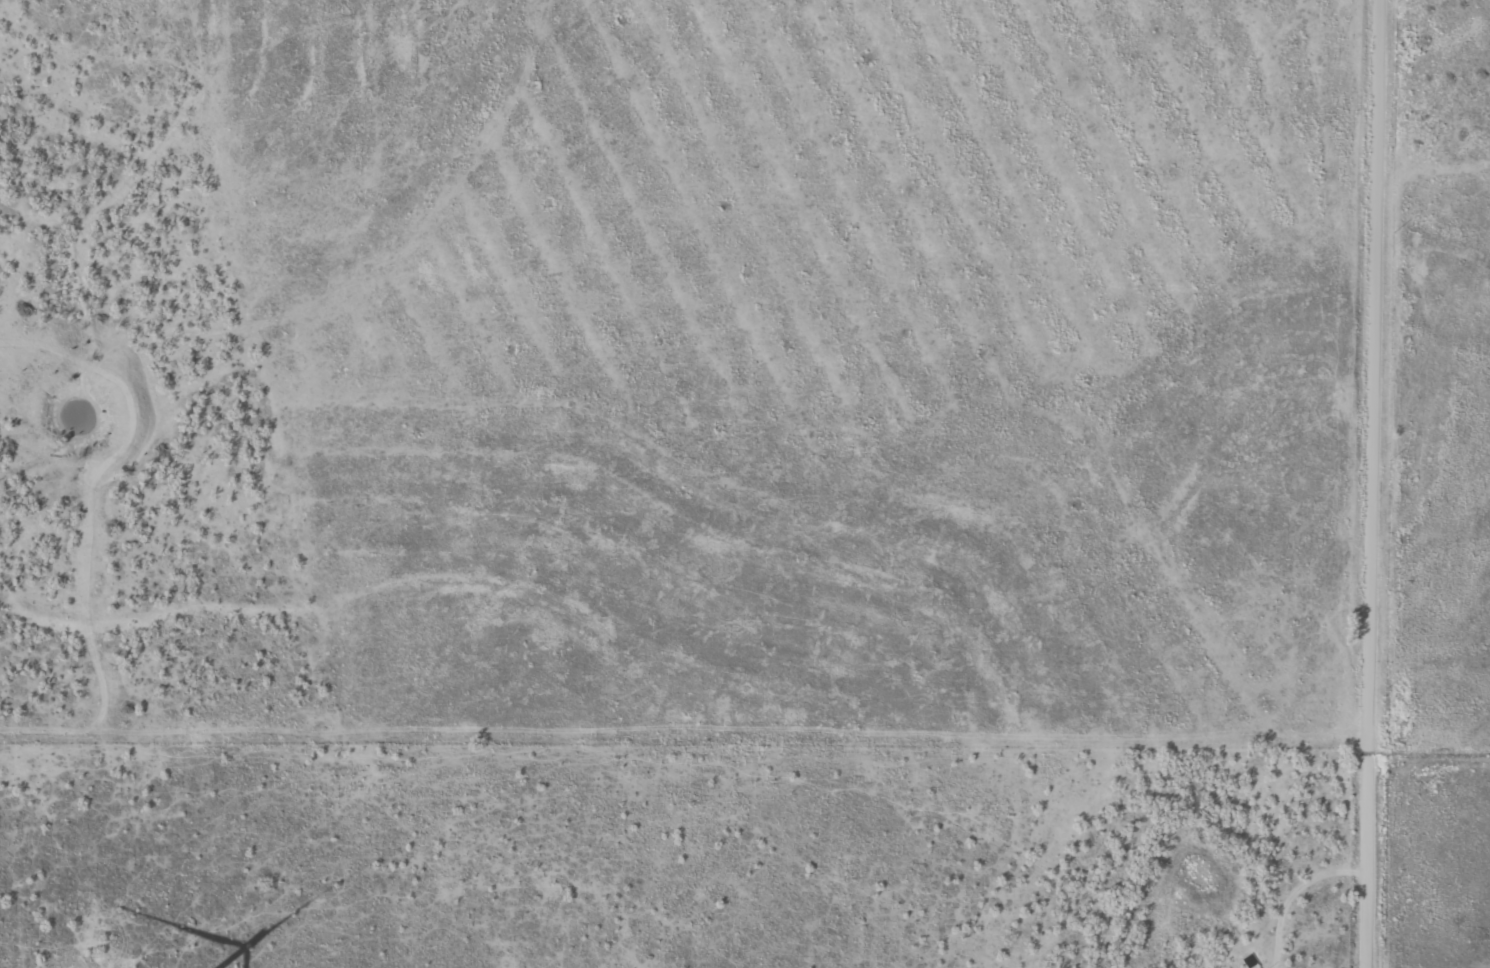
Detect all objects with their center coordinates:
road: (1418, 484)

